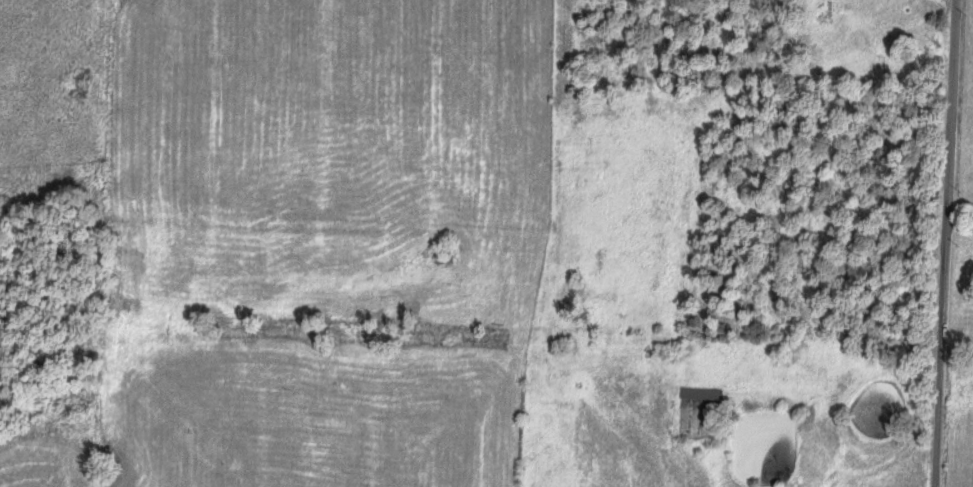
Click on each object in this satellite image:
road: (958, 230)
road: (942, 243)
building: (698, 395)

